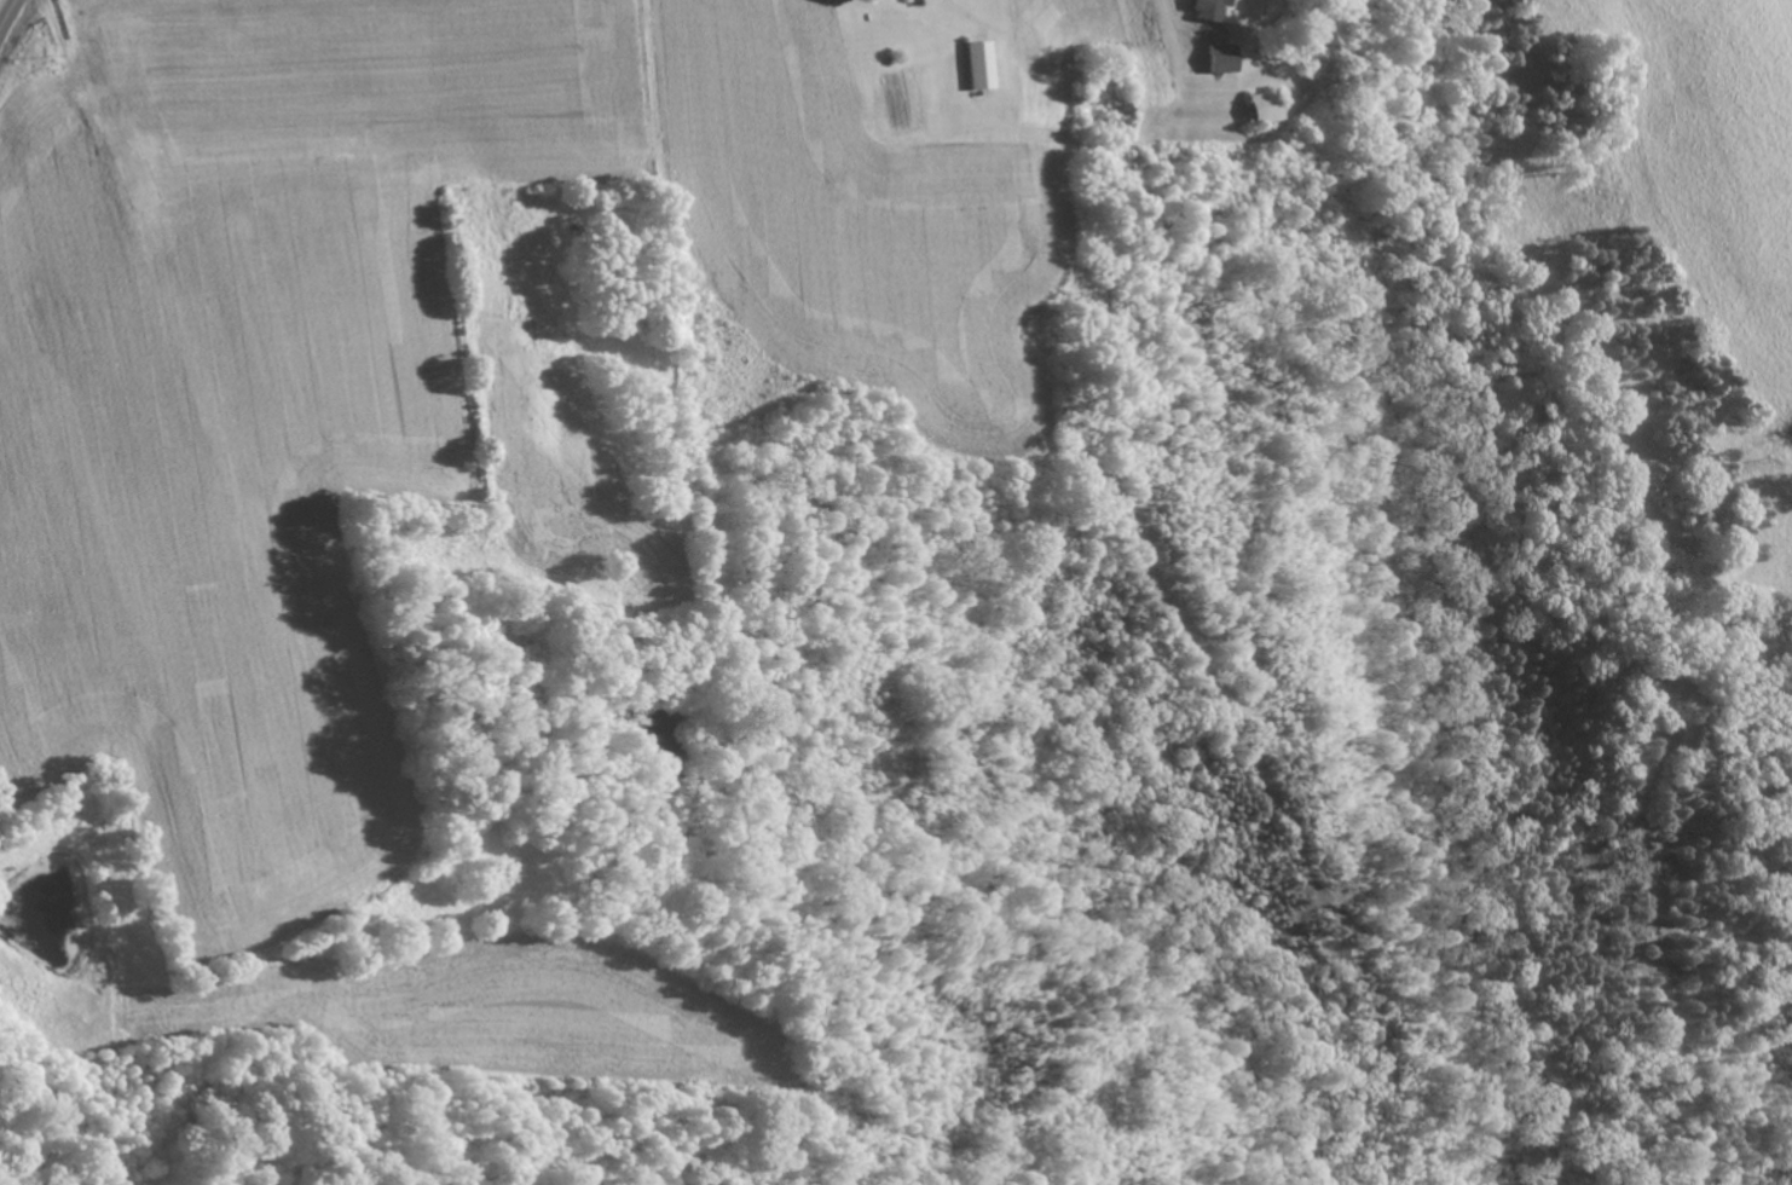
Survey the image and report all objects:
building: (1210, 8)
road: (7, 15)
building: (1220, 58)
building: (979, 64)
building: (1264, 106)

